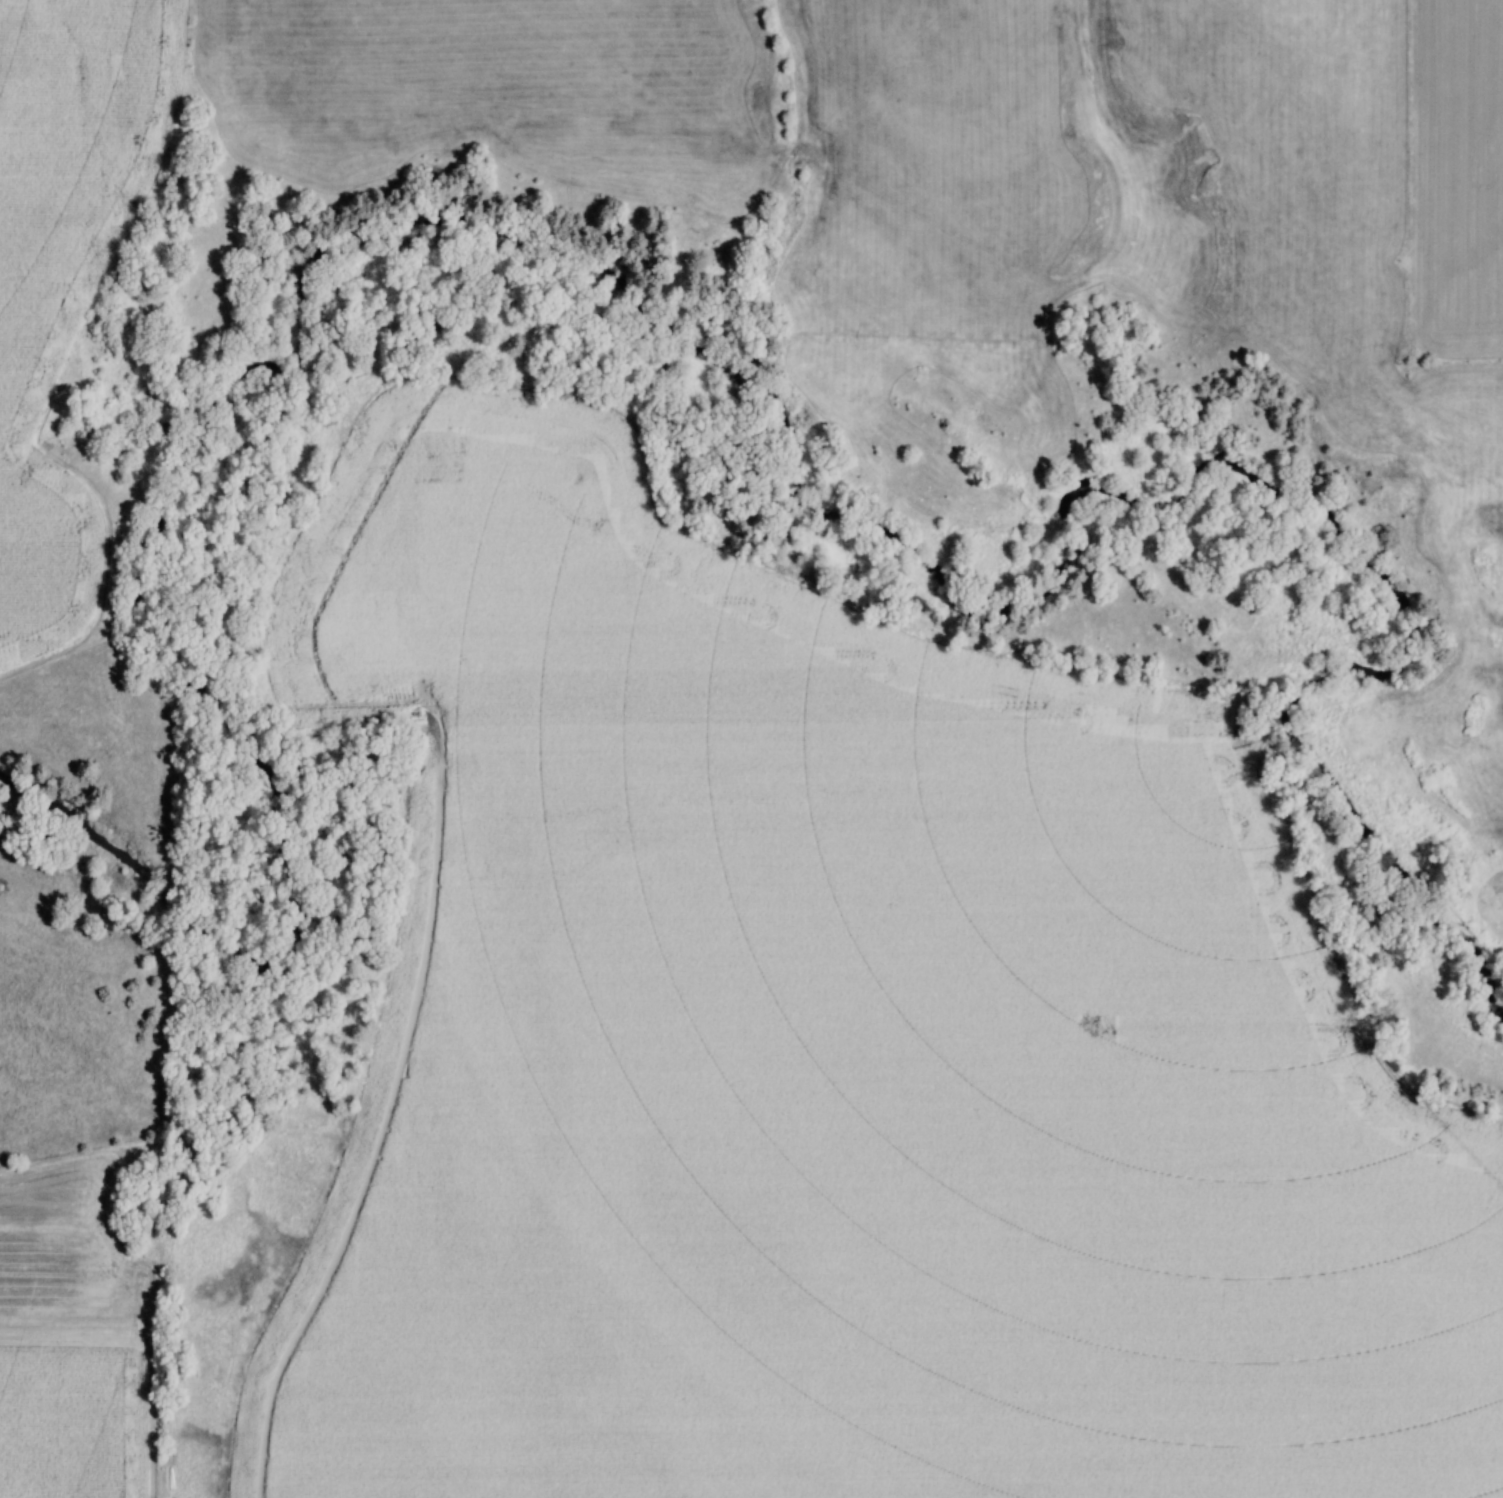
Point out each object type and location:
crop: (1463, 166)

